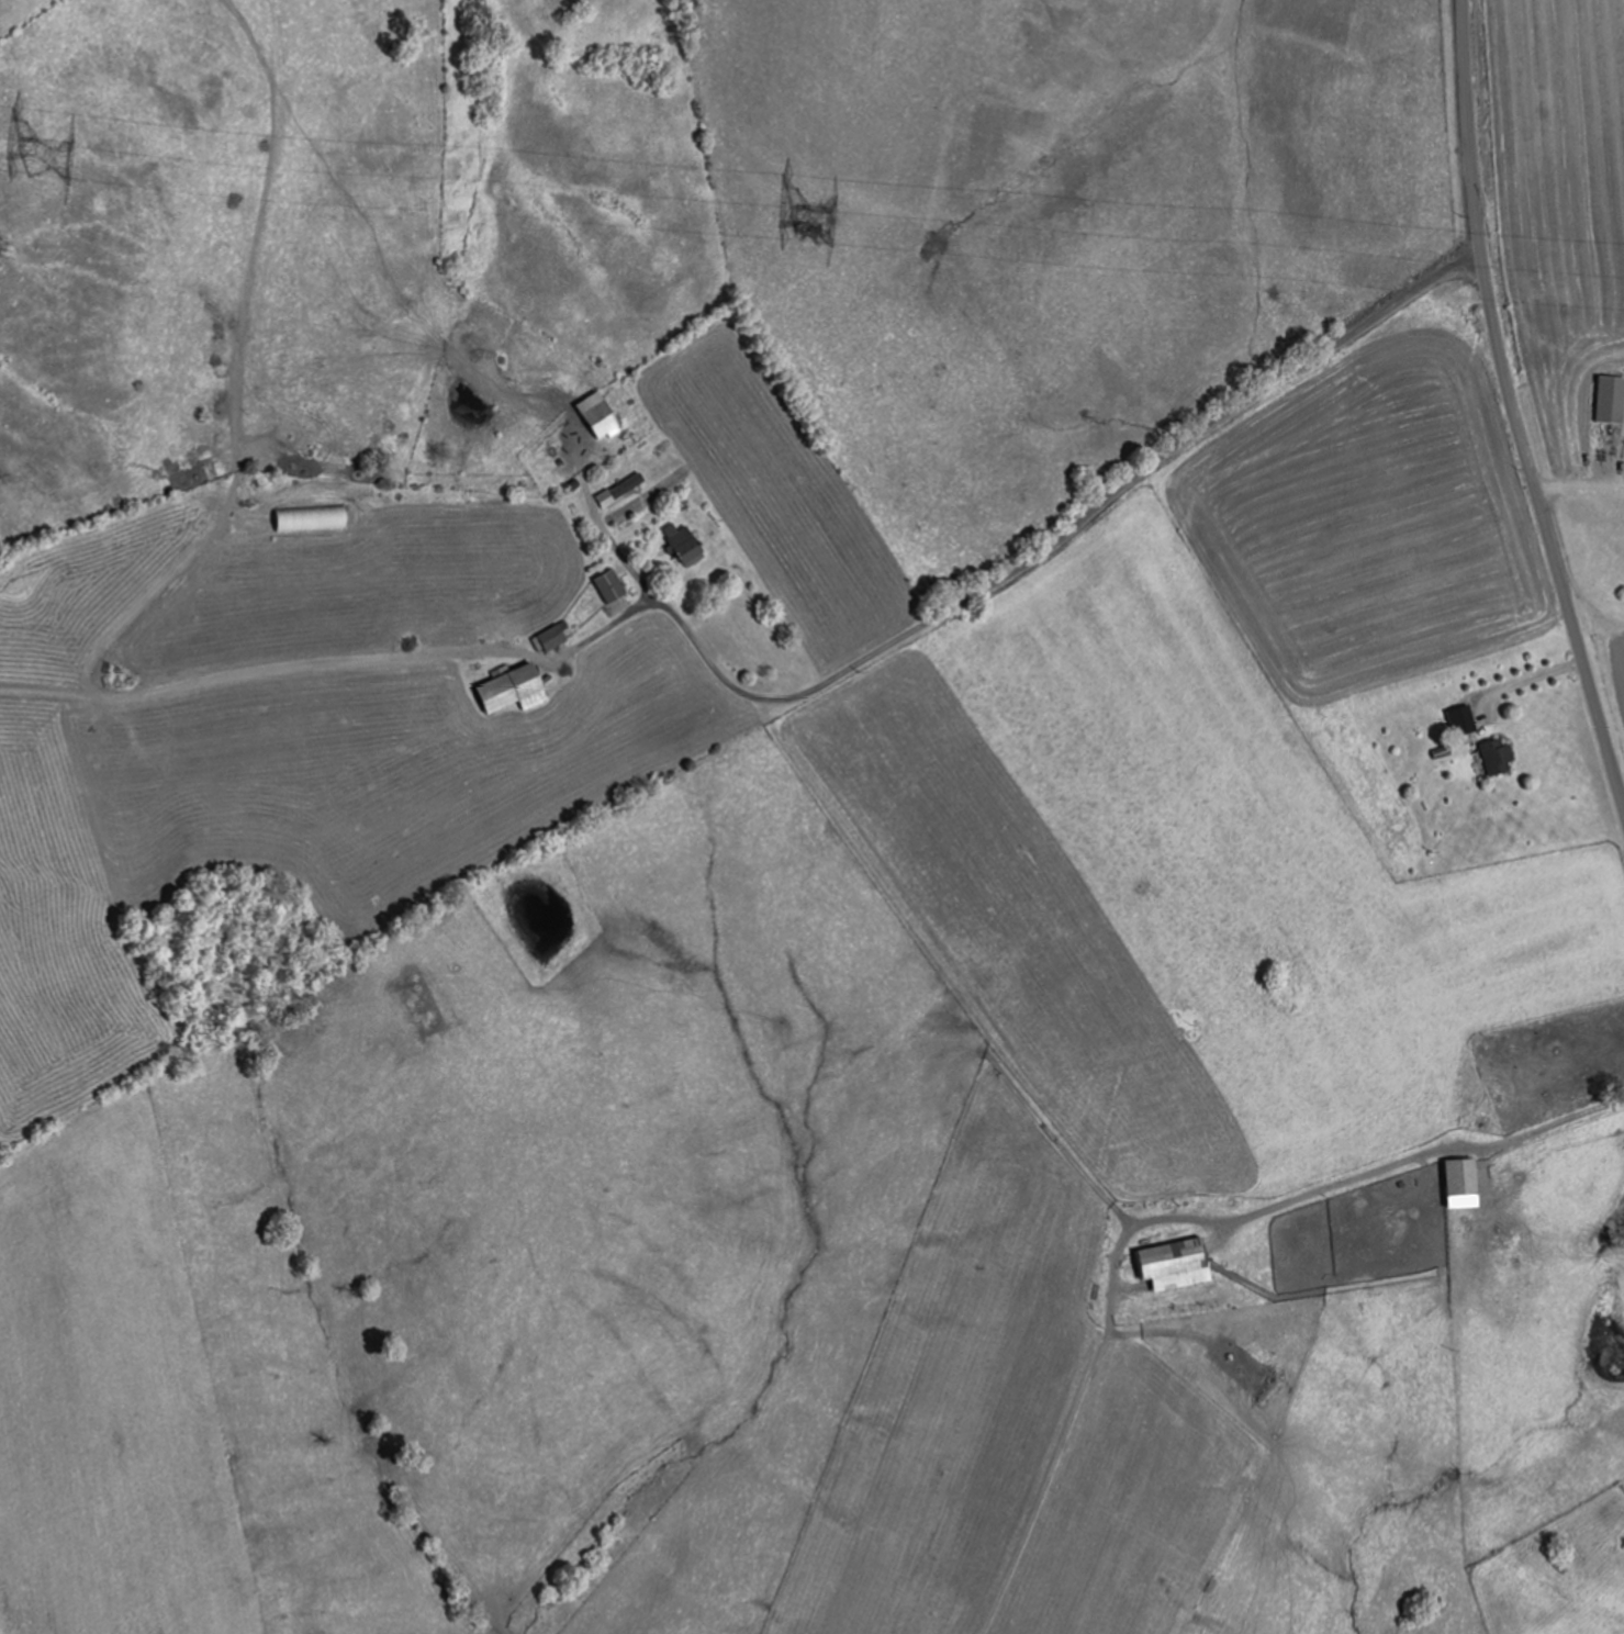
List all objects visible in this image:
power tower: (24, 160)
power tower: (828, 226)
building: (1610, 401)
road: (1513, 406)
building: (597, 417)
building: (309, 519)
building: (680, 545)
building: (609, 586)
road: (675, 633)
building: (551, 639)
building: (509, 691)
building: (1496, 758)
building: (1590, 1053)
building: (1416, 1107)
building: (1461, 1178)
building: (1173, 1265)

